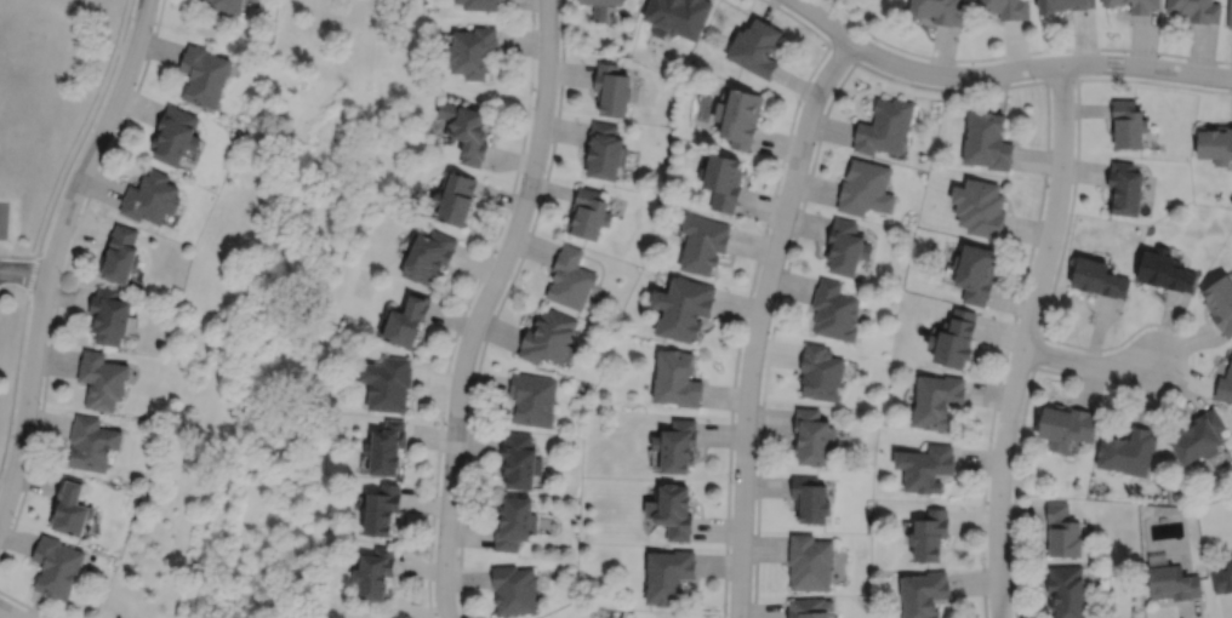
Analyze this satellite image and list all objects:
building: (1111, 1)
building: (480, 4)
building: (1065, 4)
building: (224, 5)
building: (1142, 5)
building: (601, 7)
building: (1006, 7)
building: (1196, 8)
building: (939, 10)
building: (679, 15)
building: (1230, 15)
building: (755, 46)
building: (473, 50)
road: (1020, 52)
road: (1004, 70)
building: (204, 73)
park: (16, 84)
building: (614, 87)
road: (987, 87)
building: (741, 116)
building: (1128, 124)
building: (885, 126)
road: (85, 128)
building: (468, 128)
building: (176, 132)
building: (988, 139)
building: (1215, 142)
building: (606, 149)
building: (721, 181)
building: (865, 187)
building: (1125, 188)
building: (150, 196)
building: (456, 196)
building: (980, 206)
building: (589, 212)
building: (702, 242)
building: (846, 247)
road: (52, 251)
building: (120, 253)
road: (18, 254)
building: (430, 256)
building: (1164, 270)
road: (23, 271)
road: (63, 271)
building: (976, 273)
building: (571, 277)
building: (1099, 277)
building: (1220, 303)
road: (464, 305)
road: (481, 305)
road: (498, 307)
building: (681, 308)
building: (834, 311)
building: (109, 315)
building: (407, 320)
road: (758, 320)
building: (548, 336)
building: (954, 338)
road: (1023, 339)
road: (17, 361)
road: (1089, 364)
building: (821, 372)
building: (675, 378)
building: (102, 379)
building: (388, 383)
building: (1225, 384)
building: (532, 399)
building: (936, 400)
building: (1067, 427)
building: (812, 436)
building: (1199, 437)
building: (92, 444)
building: (675, 446)
building: (388, 448)
building: (1128, 451)
building: (520, 460)
building: (925, 468)
building: (810, 500)
building: (70, 508)
building: (382, 510)
building: (671, 513)
building: (515, 523)
building: (1063, 533)
building: (930, 537)
building: (809, 562)
building: (58, 566)
building: (376, 574)
building: (667, 577)
building: (1222, 579)
building: (1173, 584)
building: (515, 589)
building: (1067, 591)
building: (924, 594)
road: (24, 603)
building: (809, 608)
road: (1, 616)

